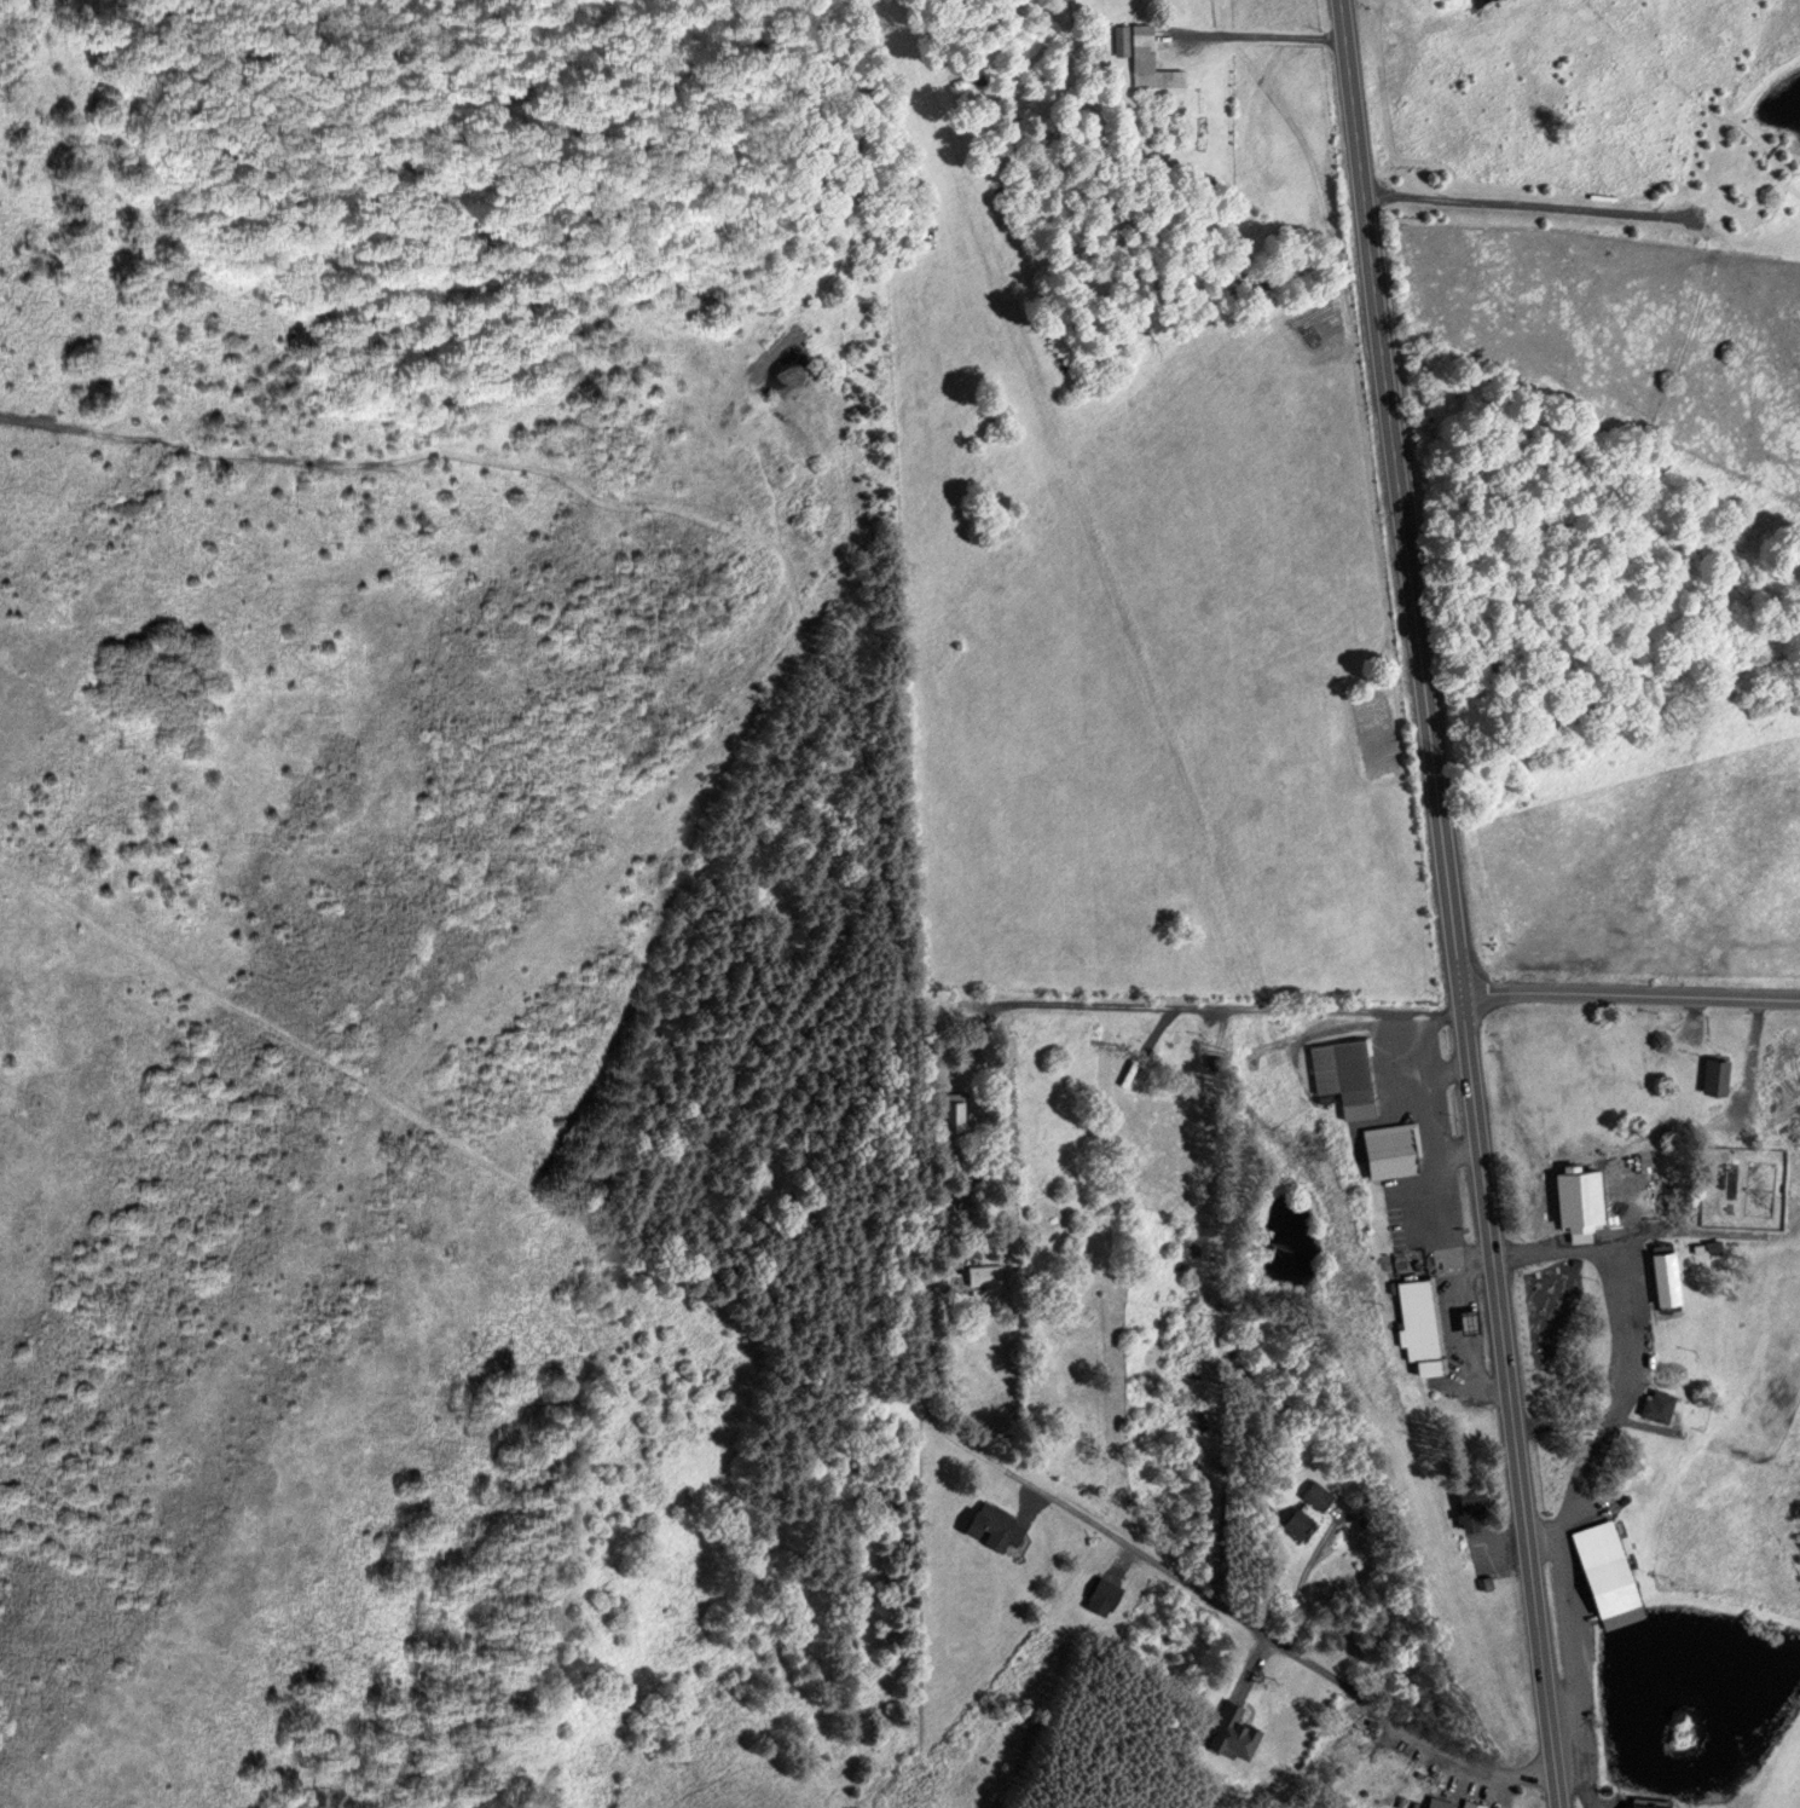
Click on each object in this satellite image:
road: (1250, 35)
building: (1142, 57)
road: (1347, 65)
road: (615, 166)
road: (838, 637)
road: (1457, 969)
road: (1630, 997)
road: (1216, 1006)
building: (1337, 1075)
building: (1711, 1075)
building: (957, 1111)
building: (1391, 1149)
building: (1573, 1201)
road: (1636, 1231)
building: (982, 1273)
building: (1660, 1276)
building: (1412, 1287)
gas station: (1465, 1321)
building: (1420, 1336)
building: (1653, 1404)
road: (1578, 1485)
building: (1315, 1495)
building: (1463, 1506)
building: (1295, 1520)
building: (990, 1523)
road: (1541, 1536)
building: (1601, 1562)
building: (1102, 1593)
road: (1232, 1612)
building: (1231, 1731)
building: (1437, 1803)
building: (1474, 1803)
building: (1643, 1804)

